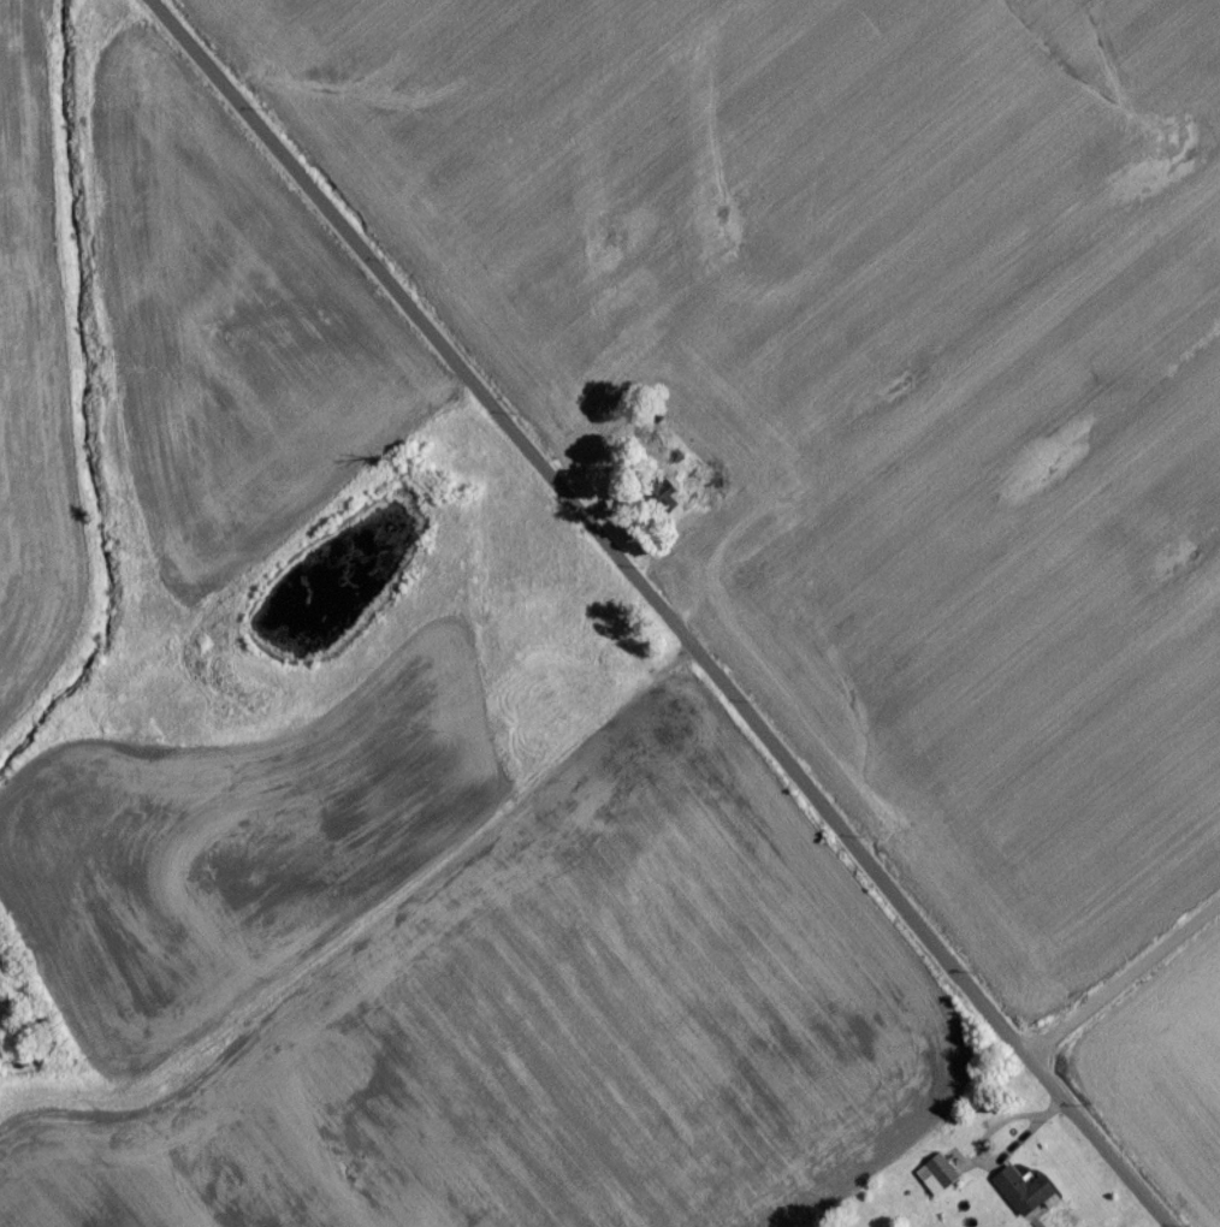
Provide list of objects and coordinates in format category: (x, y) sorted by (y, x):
road: (663, 611)
road: (1123, 965)
building: (932, 1182)
building: (1018, 1199)

